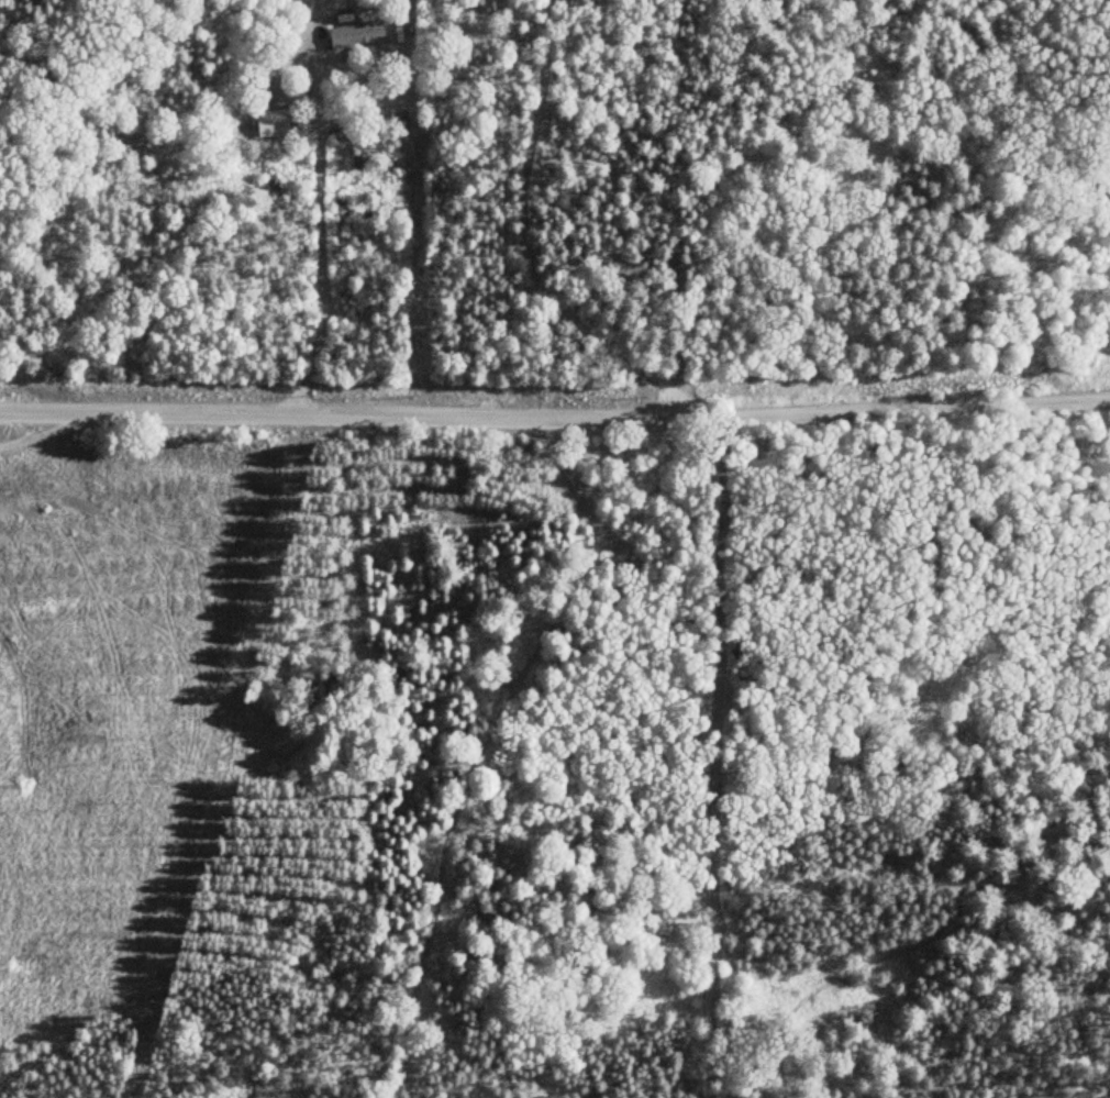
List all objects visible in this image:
building: (353, 34)
road: (555, 413)

